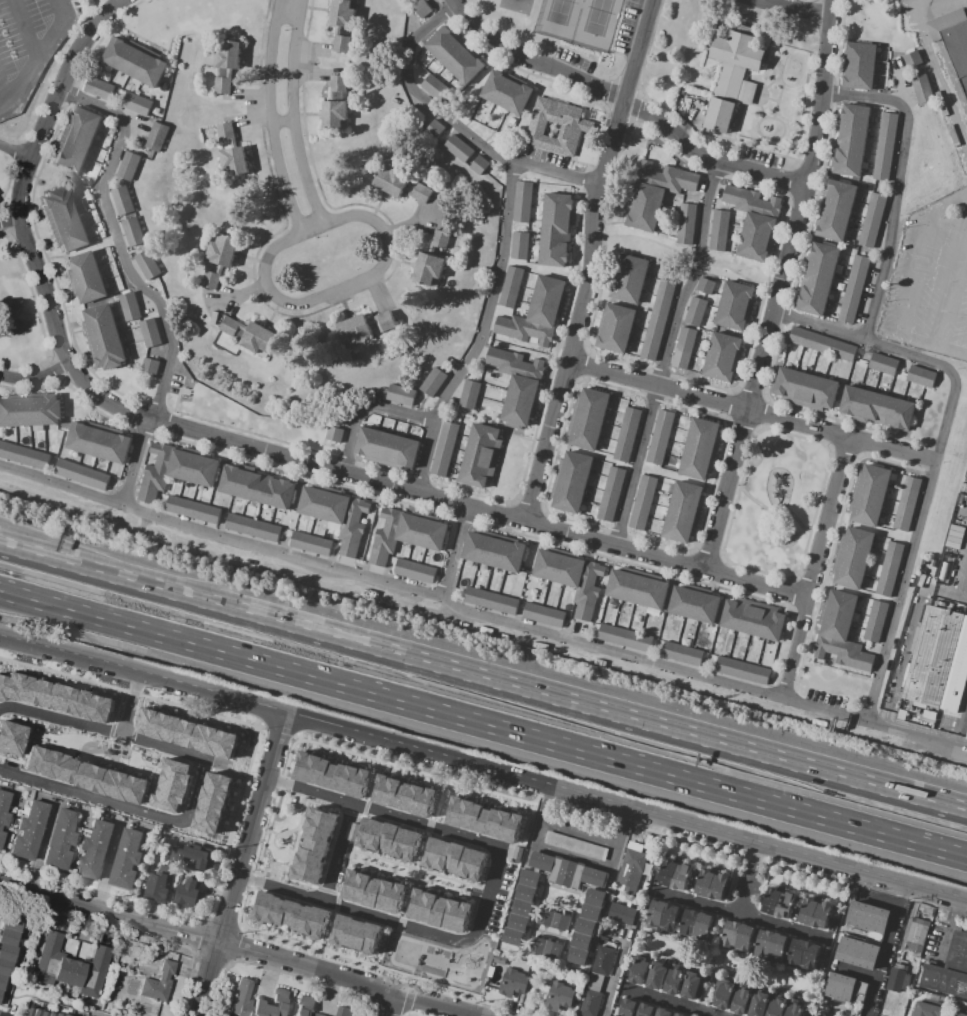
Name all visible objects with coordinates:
park: (515, 6)
road: (794, 7)
building: (421, 8)
park: (562, 12)
park: (600, 17)
building: (340, 23)
road: (21, 29)
parking lot: (28, 45)
building: (957, 52)
building: (455, 54)
road: (34, 57)
building: (912, 58)
building: (134, 61)
building: (226, 66)
building: (859, 66)
building: (732, 76)
road: (937, 77)
building: (435, 88)
building: (99, 89)
building: (922, 89)
building: (507, 93)
road: (417, 95)
road: (4, 96)
building: (137, 103)
road: (624, 104)
building: (335, 106)
road: (296, 114)
road: (272, 119)
building: (435, 128)
building: (576, 128)
building: (158, 137)
building: (76, 139)
building: (850, 140)
road: (17, 147)
building: (885, 147)
building: (458, 148)
building: (231, 152)
building: (128, 165)
building: (479, 165)
road: (555, 175)
building: (667, 175)
road: (898, 182)
building: (401, 185)
building: (122, 200)
building: (523, 202)
building: (643, 206)
building: (835, 210)
building: (64, 219)
road: (20, 221)
building: (753, 221)
building: (874, 221)
road: (10, 222)
building: (685, 225)
building: (556, 230)
building: (133, 231)
building: (719, 231)
road: (118, 245)
road: (280, 245)
building: (519, 245)
road: (689, 258)
building: (219, 259)
building: (431, 261)
road: (593, 261)
building: (147, 264)
road: (692, 277)
building: (817, 277)
building: (86, 278)
building: (629, 278)
parking lot: (931, 283)
road: (910, 284)
building: (510, 286)
building: (705, 286)
road: (781, 288)
building: (854, 288)
road: (950, 290)
building: (129, 306)
building: (734, 306)
building: (695, 312)
building: (537, 313)
building: (657, 319)
road: (820, 326)
building: (363, 327)
building: (615, 328)
building: (149, 333)
road: (481, 334)
building: (226, 335)
building: (250, 336)
building: (103, 337)
building: (824, 345)
building: (684, 348)
building: (724, 357)
building: (884, 365)
building: (150, 366)
road: (950, 374)
building: (923, 378)
road: (35, 379)
building: (432, 382)
building: (517, 385)
building: (807, 390)
building: (400, 394)
building: (470, 396)
road: (364, 408)
building: (878, 408)
building: (29, 410)
road: (752, 412)
building: (587, 419)
building: (334, 434)
building: (627, 434)
building: (660, 437)
building: (98, 441)
building: (701, 448)
building: (386, 449)
building: (445, 449)
building: (480, 455)
building: (23, 456)
road: (135, 464)
road: (635, 467)
building: (174, 470)
building: (81, 475)
building: (570, 482)
building: (256, 486)
road: (61, 487)
building: (610, 494)
building: (868, 495)
building: (643, 502)
park: (779, 504)
building: (906, 504)
road: (477, 510)
building: (683, 511)
road: (776, 511)
building: (195, 512)
building: (335, 514)
road: (828, 519)
building: (254, 530)
building: (405, 533)
building: (954, 540)
building: (313, 545)
parking lot: (957, 550)
building: (493, 552)
road: (457, 555)
building: (853, 557)
road: (102, 562)
building: (889, 569)
building: (414, 570)
building: (943, 571)
building: (931, 572)
road: (102, 574)
building: (571, 577)
building: (920, 580)
building: (636, 588)
road: (901, 594)
building: (491, 601)
road: (450, 604)
building: (693, 604)
building: (903, 610)
building: (543, 615)
building: (753, 618)
building: (875, 621)
building: (840, 633)
building: (624, 638)
building: (870, 647)
road: (793, 651)
building: (681, 653)
building: (931, 655)
building: (742, 670)
building: (54, 697)
road: (130, 706)
road: (585, 707)
road: (823, 713)
building: (901, 714)
building: (928, 714)
road: (61, 716)
building: (921, 720)
road: (483, 724)
road: (959, 726)
building: (187, 732)
building: (966, 735)
building: (10, 737)
road: (917, 739)
road: (310, 748)
road: (318, 750)
road: (334, 754)
road: (339, 756)
road: (354, 760)
road: (363, 763)
road: (389, 770)
road: (397, 772)
road: (483, 772)
building: (331, 774)
building: (84, 775)
road: (405, 775)
road: (420, 779)
road: (429, 781)
building: (170, 783)
road: (369, 789)
road: (298, 791)
road: (462, 792)
road: (470, 793)
building: (403, 795)
road: (486, 799)
road: (491, 799)
parking lot: (294, 800)
building: (212, 801)
road: (507, 804)
road: (515, 806)
building: (4, 808)
road: (304, 813)
road: (352, 814)
road: (160, 817)
building: (485, 819)
road: (302, 822)
road: (428, 824)
building: (29, 830)
road: (288, 830)
road: (272, 832)
road: (288, 832)
building: (353, 832)
road: (581, 835)
road: (298, 837)
building: (2, 838)
building: (387, 838)
building: (61, 840)
road: (296, 842)
building: (314, 845)
road: (277, 846)
building: (574, 846)
road: (286, 847)
building: (96, 850)
road: (363, 850)
road: (333, 851)
road: (380, 851)
road: (371, 852)
building: (191, 856)
road: (379, 856)
road: (292, 858)
building: (454, 858)
road: (395, 859)
building: (127, 861)
road: (403, 861)
parking lot: (342, 862)
road: (335, 863)
road: (238, 866)
road: (289, 866)
building: (631, 866)
road: (358, 868)
road: (376, 869)
road: (366, 870)
road: (429, 870)
road: (446, 870)
building: (567, 871)
parking lot: (273, 872)
road: (428, 872)
road: (437, 872)
road: (374, 873)
road: (445, 875)
building: (674, 875)
road: (389, 877)
road: (461, 878)
building: (530, 878)
road: (398, 879)
road: (411, 879)
road: (747, 880)
building: (159, 882)
road: (271, 883)
building: (711, 884)
road: (424, 886)
road: (432, 889)
road: (490, 889)
building: (372, 890)
road: (466, 890)
road: (440, 893)
building: (525, 893)
road: (461, 894)
road: (481, 894)
road: (455, 896)
building: (190, 897)
building: (595, 897)
parking lot: (498, 900)
building: (779, 903)
road: (404, 905)
building: (522, 908)
building: (440, 909)
building: (591, 912)
building: (816, 912)
building: (621, 913)
road: (744, 915)
building: (290, 916)
building: (663, 916)
building: (868, 917)
building: (553, 919)
road: (330, 921)
building: (518, 922)
building: (696, 925)
road: (258, 926)
building: (585, 926)
road: (266, 928)
road: (281, 933)
road: (287, 934)
building: (357, 935)
building: (918, 935)
building: (513, 936)
building: (738, 937)
road: (303, 938)
road: (311, 941)
building: (581, 941)
building: (771, 945)
road: (236, 947)
road: (337, 948)
building: (545, 948)
building: (8, 950)
road: (345, 950)
road: (886, 951)
building: (858, 953)
road: (355, 954)
road: (363, 955)
building: (803, 955)
building: (577, 956)
building: (498, 959)
park: (442, 960)
building: (603, 961)
building: (73, 967)
road: (616, 967)
building: (639, 970)
building: (950, 971)
building: (657, 975)
building: (674, 980)
building: (900, 981)
building: (159, 982)
building: (511, 982)
building: (595, 982)
building: (693, 985)
building: (846, 988)
building: (723, 993)
building: (560, 996)
building: (256, 1001)
building: (741, 1001)
road: (386, 1003)
building: (590, 1003)
road: (671, 1003)
building: (758, 1004)
building: (305, 1006)
building: (628, 1007)
building: (777, 1007)
building: (645, 1009)
building: (794, 1009)
building: (930, 1009)
building: (343, 1011)
building: (662, 1012)
building: (40, 1013)
building: (961, 1013)
building: (680, 1014)
road: (0, 1015)
road: (467, 1015)
road: (710, 1015)

